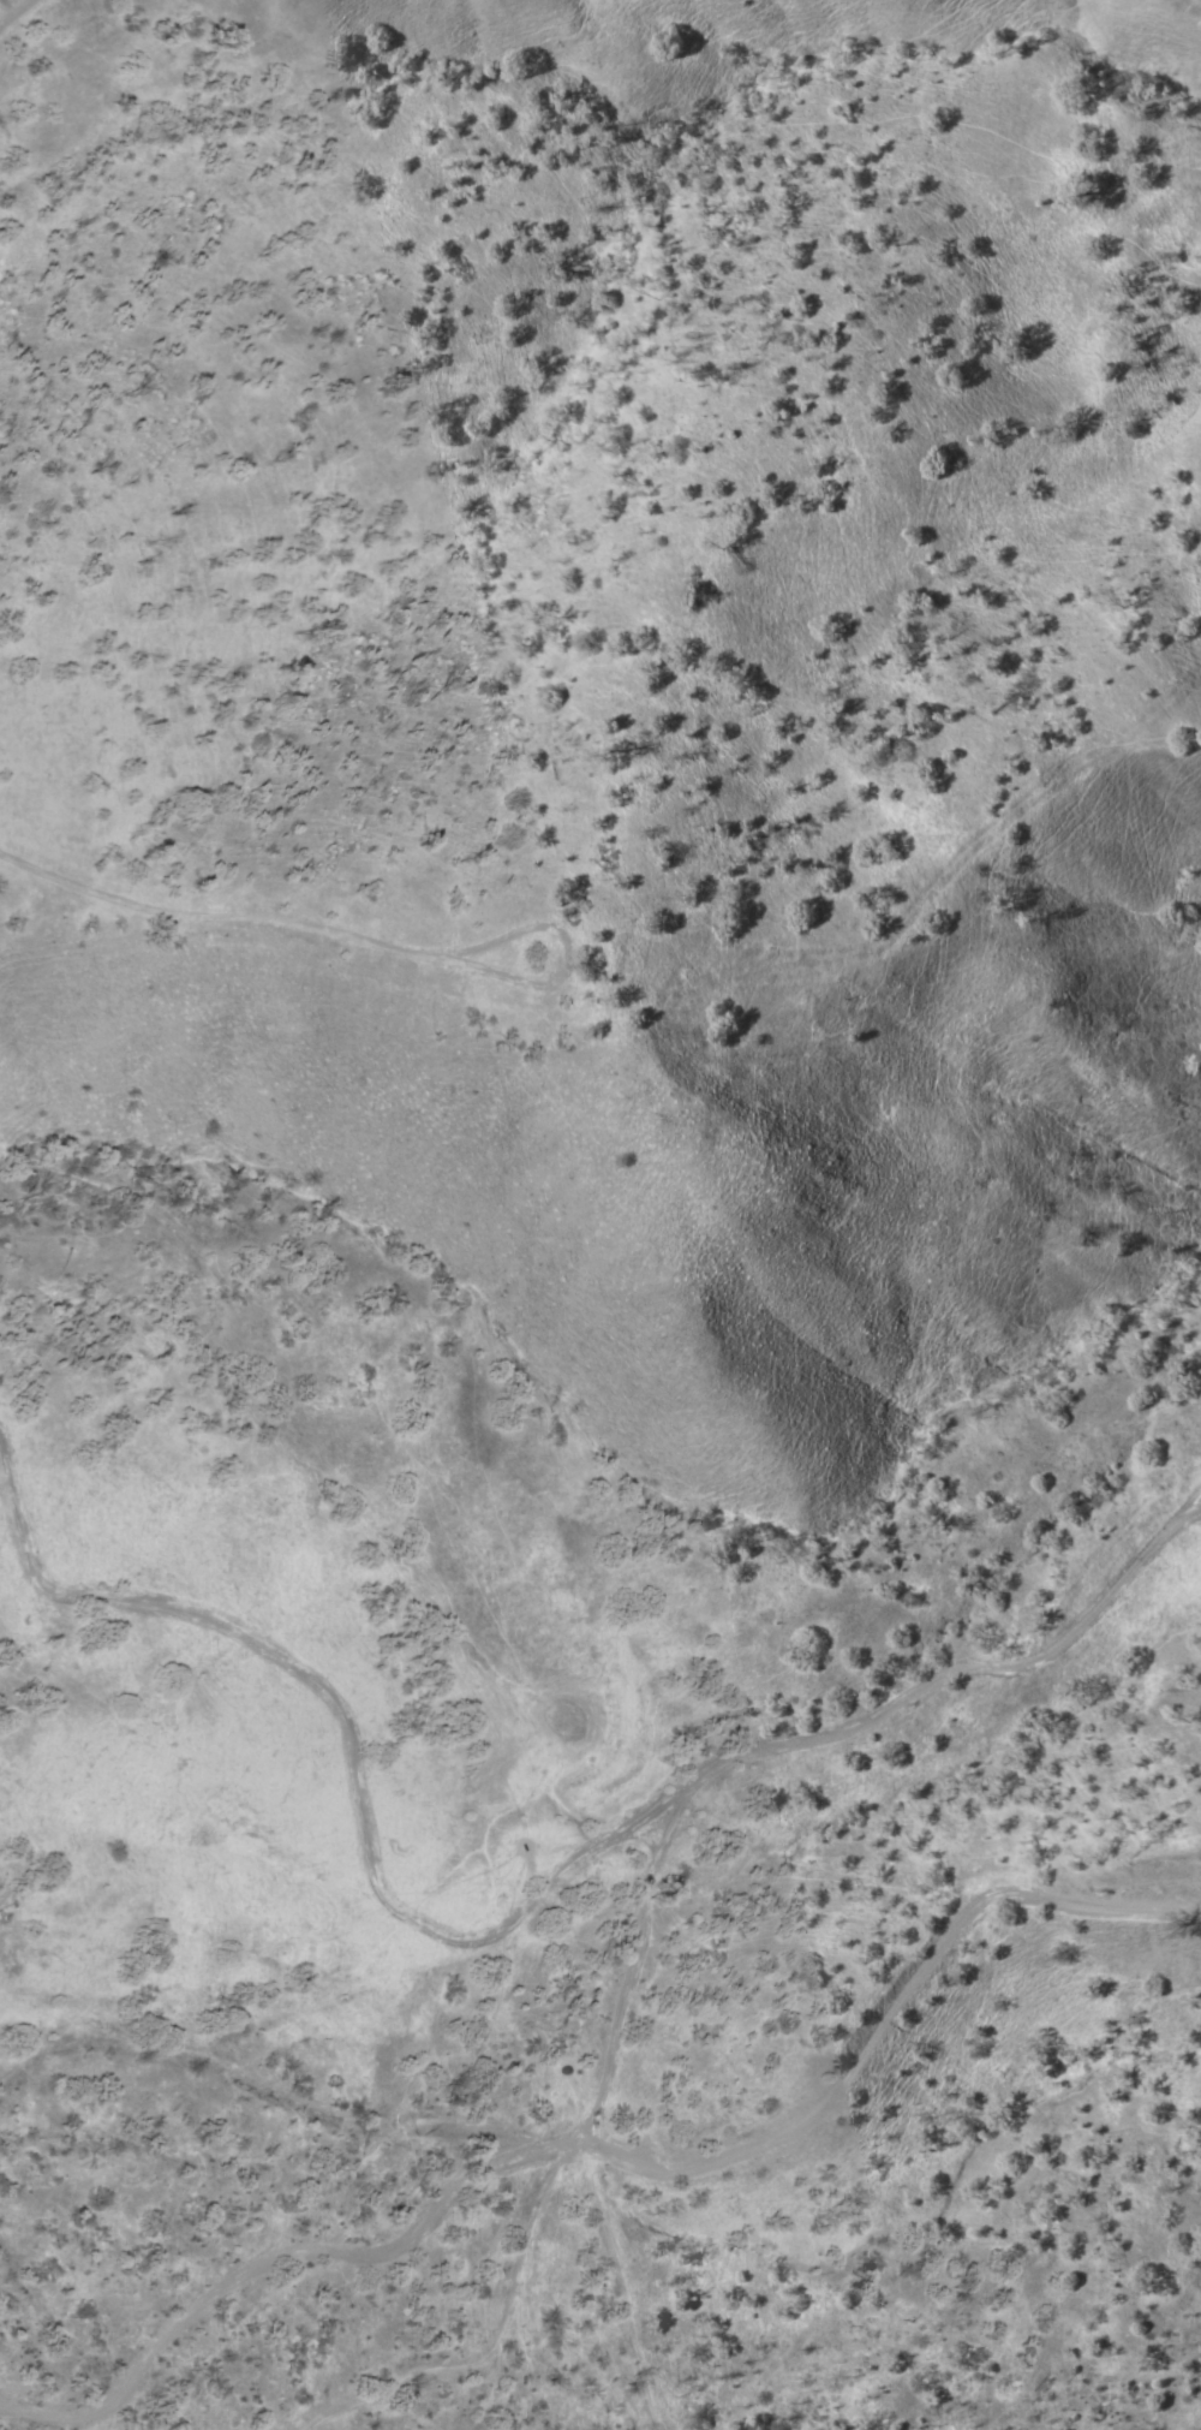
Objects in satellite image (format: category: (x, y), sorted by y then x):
road: (471, 1959)
road: (586, 2127)

